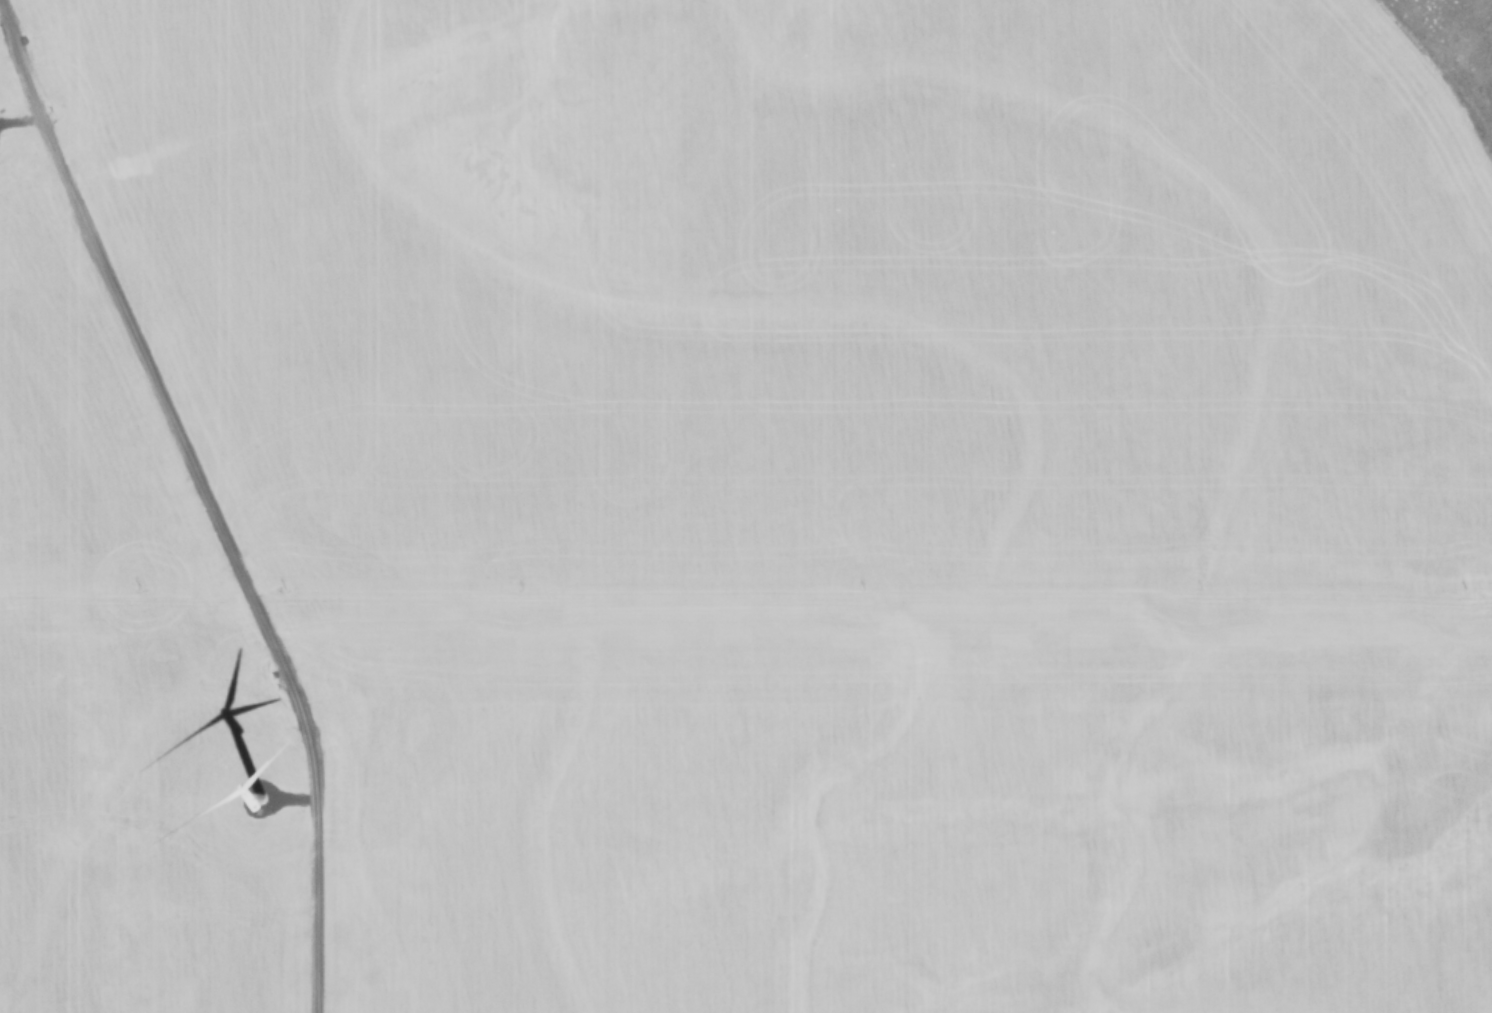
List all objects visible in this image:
road: (209, 496)
wind turbine: (250, 795)

